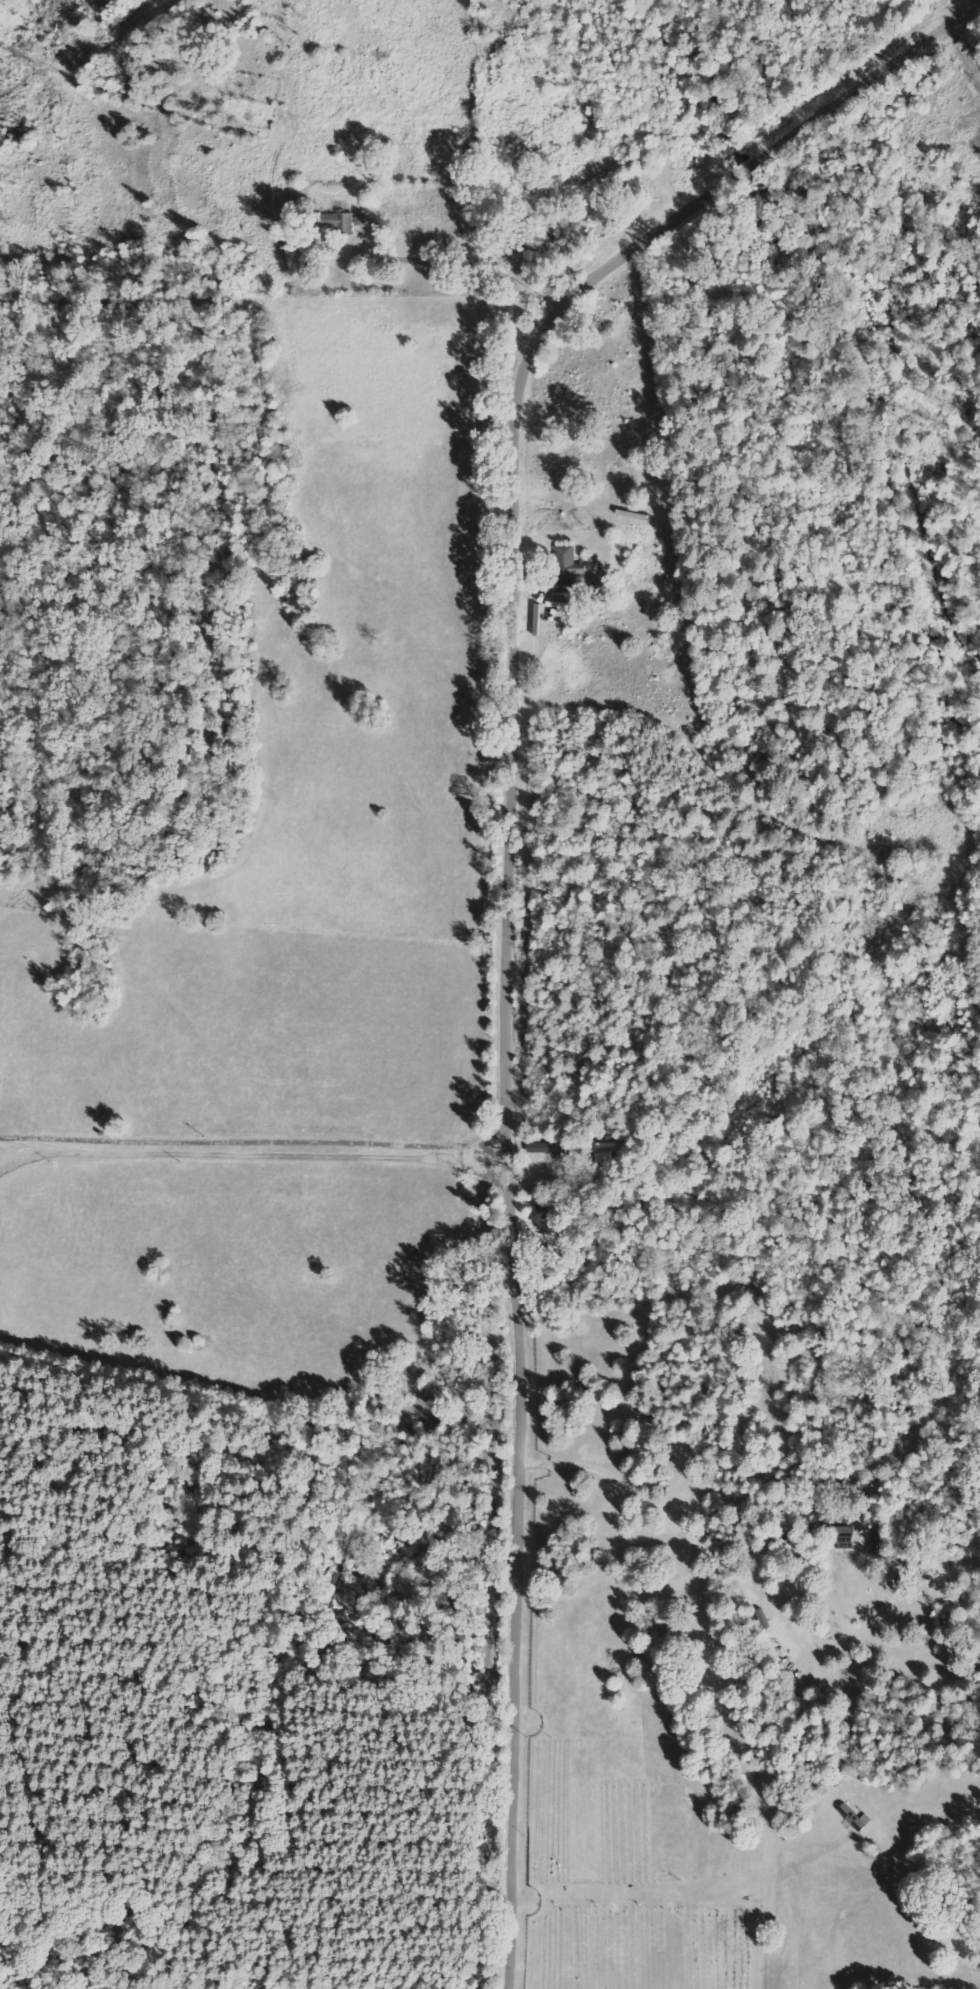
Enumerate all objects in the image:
building: (361, 219)
building: (340, 221)
road: (513, 886)
building: (551, 1149)
building: (609, 1149)
building: (544, 1217)
building: (845, 1538)

